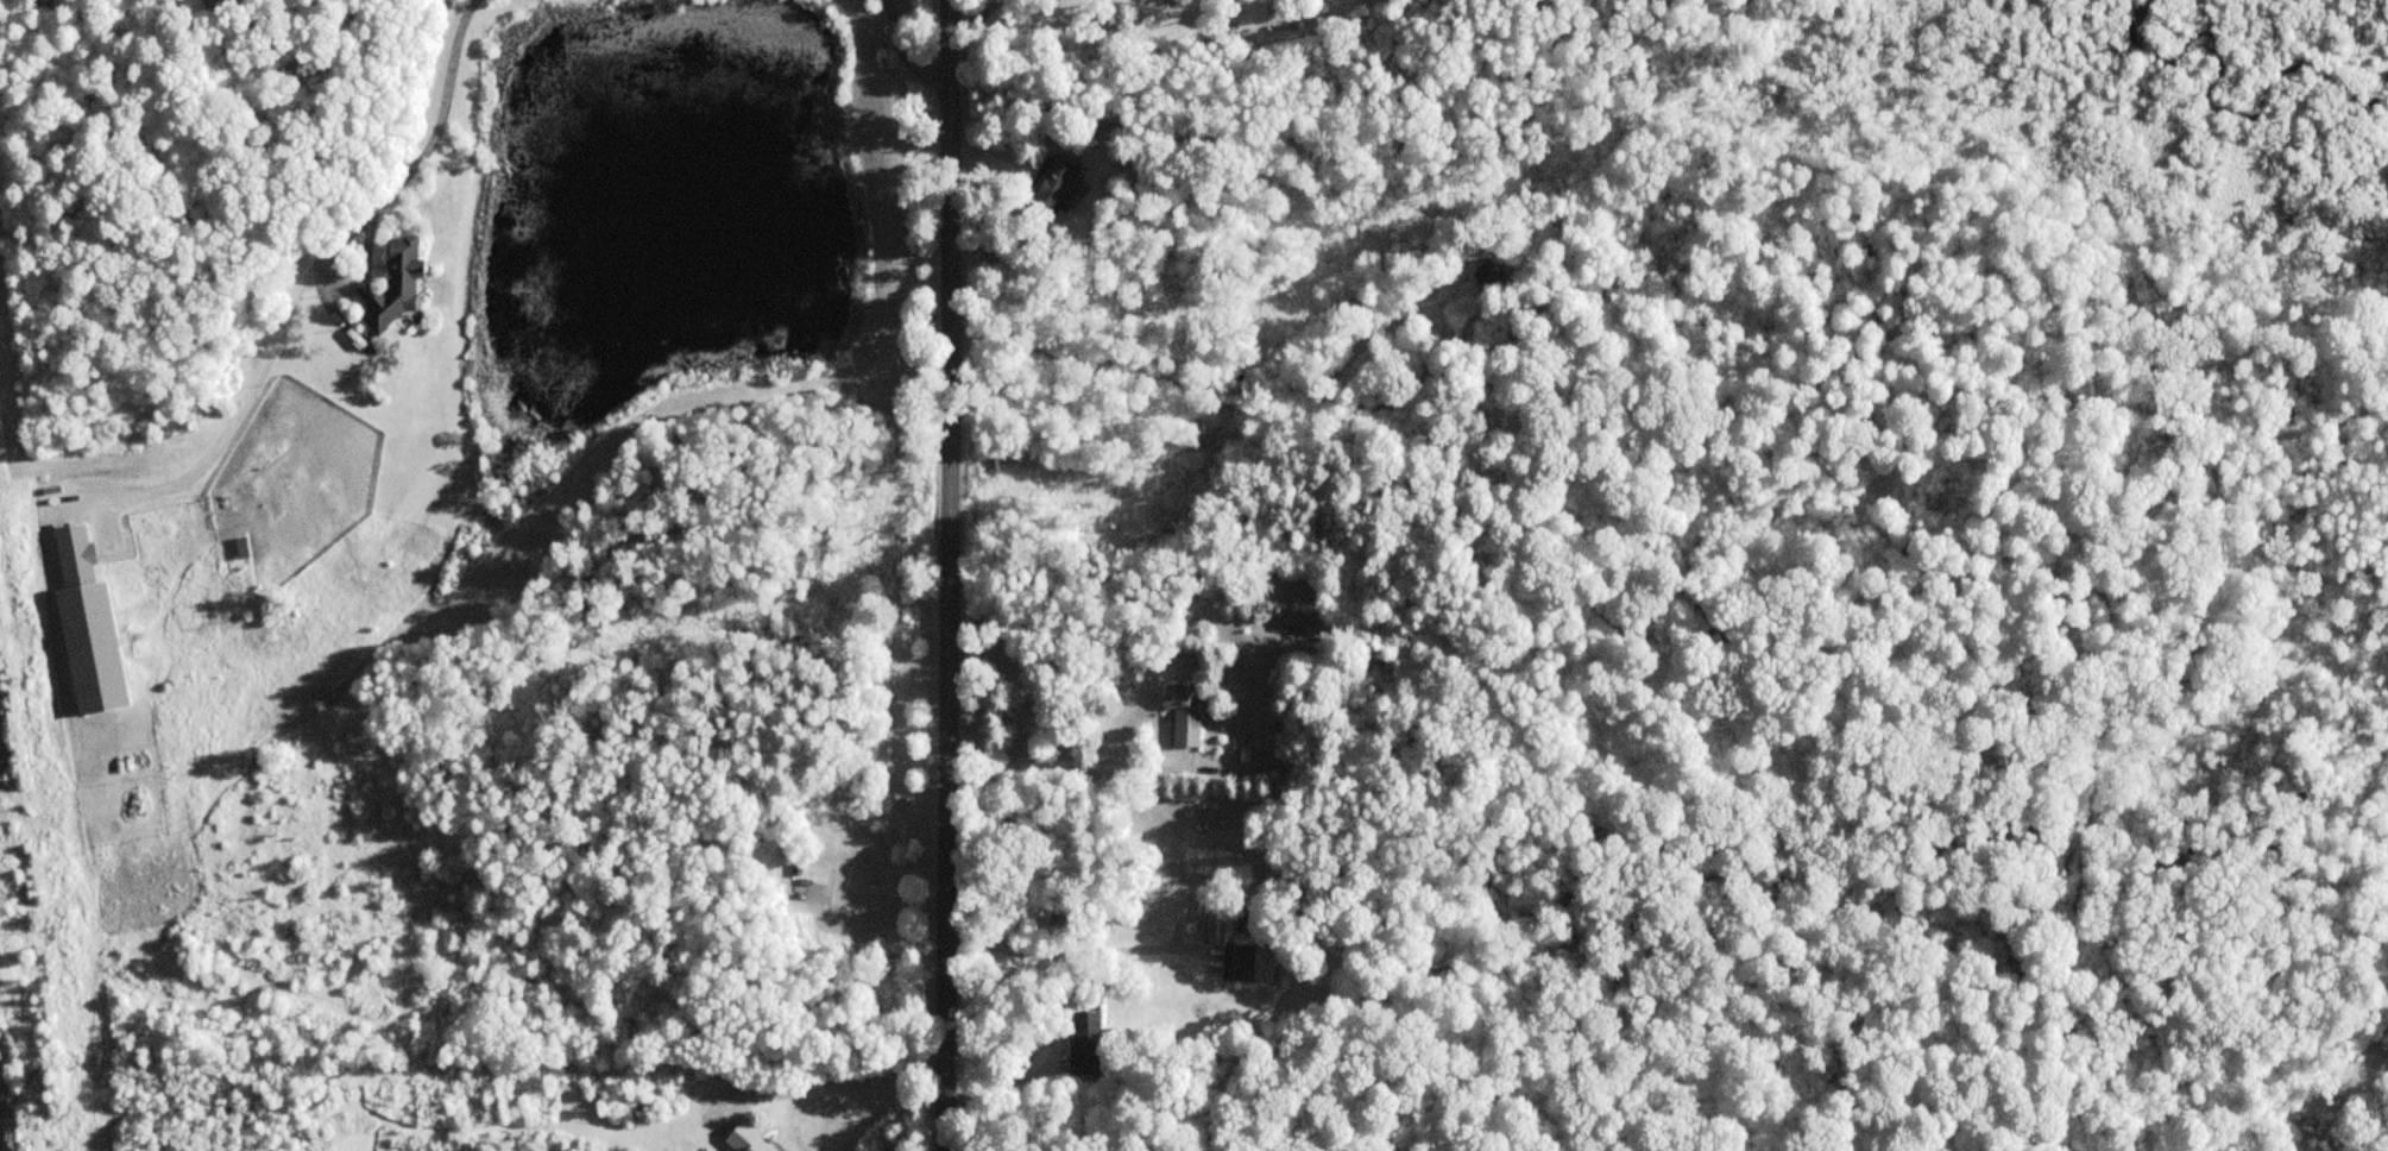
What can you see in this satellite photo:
building: (1051, 185)
building: (1489, 275)
building: (391, 285)
building: (71, 552)
road: (944, 575)
building: (92, 679)
building: (1180, 715)
building: (804, 886)
building: (1234, 963)
building: (1085, 1044)
building: (743, 1139)

